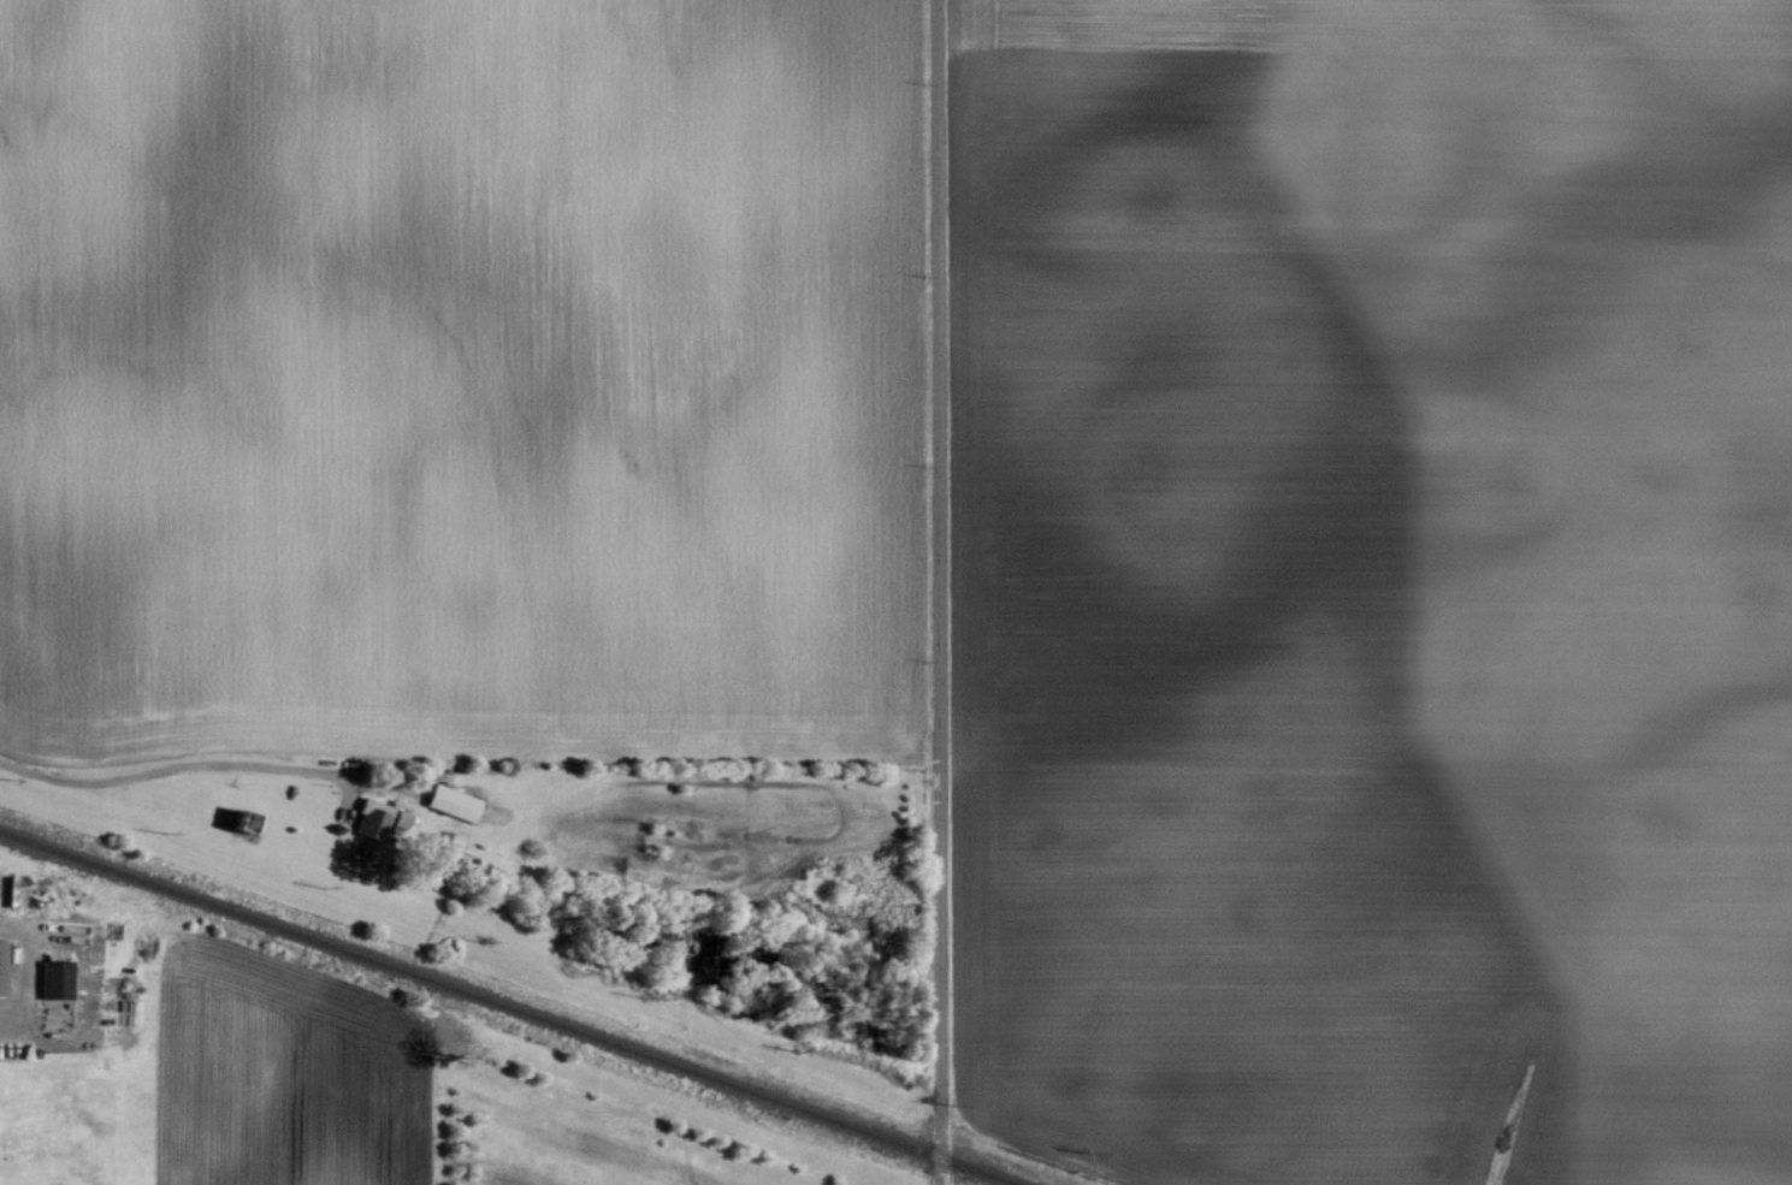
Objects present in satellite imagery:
road: (936, 592)
road: (227, 766)
road: (51, 780)
building: (450, 804)
building: (377, 819)
building: (0, 966)
building: (54, 980)
railway: (511, 1007)

